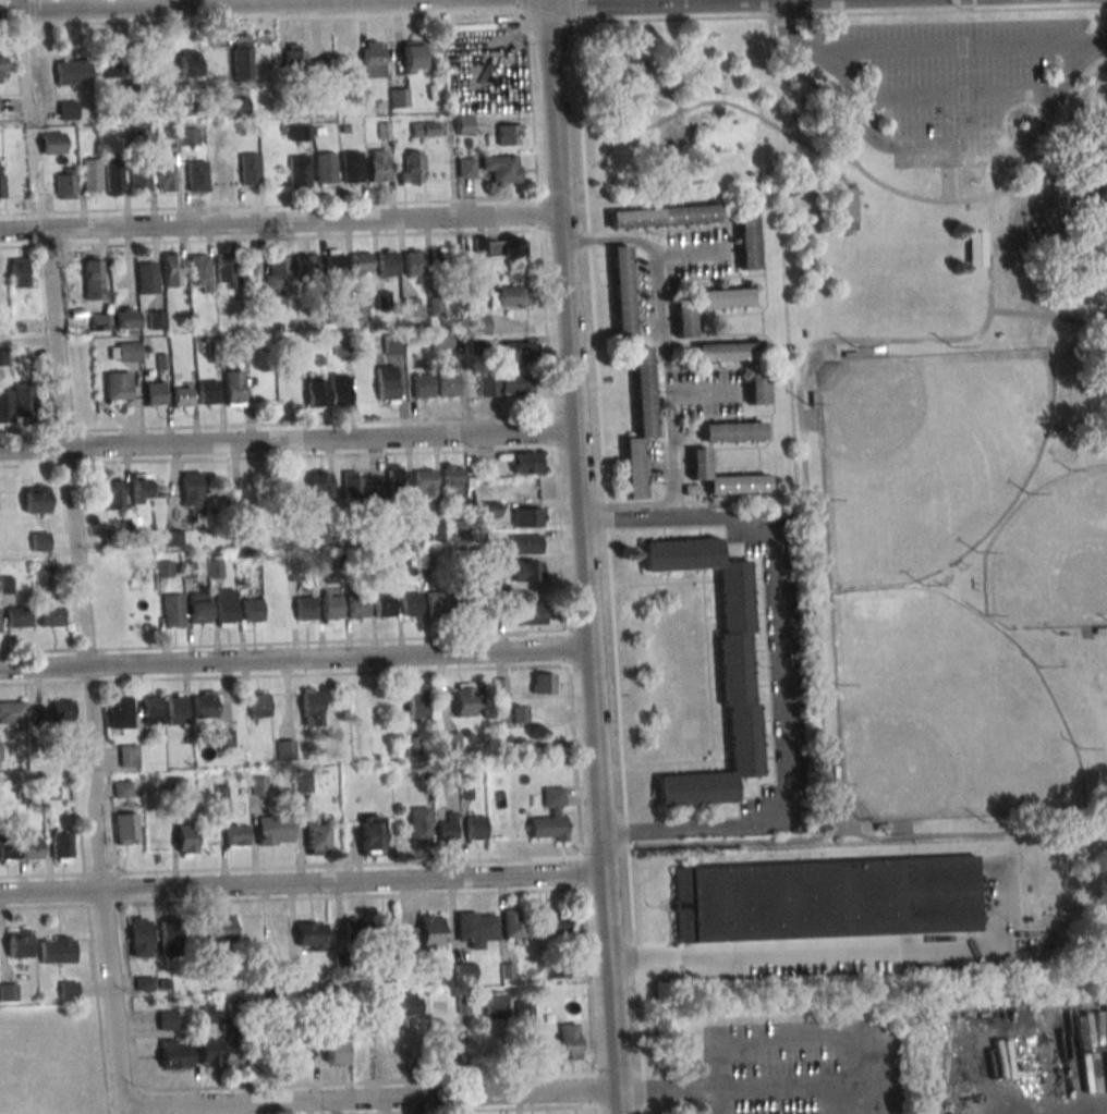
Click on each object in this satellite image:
road: (15, 5)
road: (197, 5)
road: (775, 15)
road: (671, 19)
road: (960, 47)
building: (294, 57)
building: (412, 57)
building: (242, 58)
building: (373, 59)
road: (23, 66)
building: (112, 66)
building: (188, 68)
building: (2, 69)
building: (318, 69)
parking lot: (954, 69)
road: (631, 70)
building: (73, 72)
building: (399, 97)
road: (956, 97)
road: (715, 101)
building: (68, 110)
building: (463, 124)
building: (424, 130)
building: (300, 132)
building: (507, 135)
road: (1056, 137)
road: (1086, 139)
building: (52, 143)
road: (927, 143)
building: (377, 166)
building: (352, 167)
building: (411, 167)
building: (465, 167)
building: (326, 168)
building: (501, 168)
building: (250, 169)
building: (299, 171)
building: (92, 174)
building: (197, 176)
building: (113, 177)
building: (166, 177)
building: (141, 179)
building: (1, 183)
building: (65, 184)
building: (841, 205)
road: (1015, 206)
building: (661, 216)
road: (989, 225)
road: (1057, 227)
road: (278, 228)
road: (610, 238)
building: (746, 238)
building: (499, 246)
road: (1024, 246)
building: (976, 248)
road: (686, 253)
building: (333, 262)
building: (387, 262)
building: (413, 262)
building: (440, 262)
building: (305, 265)
building: (361, 265)
building: (173, 270)
building: (224, 271)
building: (19, 272)
building: (200, 272)
building: (277, 274)
building: (93, 278)
building: (147, 278)
building: (622, 291)
building: (507, 296)
building: (436, 305)
building: (707, 305)
building: (410, 306)
building: (358, 310)
building: (156, 319)
building: (114, 320)
building: (442, 341)
building: (341, 346)
building: (124, 351)
building: (725, 351)
building: (240, 352)
building: (518, 352)
park: (919, 381)
building: (448, 382)
building: (387, 384)
building: (422, 384)
building: (504, 384)
building: (118, 387)
building: (234, 389)
building: (756, 389)
building: (340, 390)
road: (697, 391)
building: (208, 392)
building: (316, 392)
building: (156, 394)
building: (182, 397)
building: (16, 402)
building: (640, 421)
road: (668, 423)
building: (731, 431)
road: (802, 431)
road: (601, 434)
road: (575, 439)
road: (287, 443)
road: (68, 450)
park: (926, 456)
building: (526, 463)
building: (723, 477)
building: (398, 479)
building: (453, 481)
building: (293, 482)
building: (425, 482)
building: (319, 485)
building: (351, 485)
building: (141, 488)
building: (192, 492)
building: (113, 493)
building: (36, 499)
building: (489, 509)
building: (527, 517)
building: (173, 537)
building: (40, 541)
building: (525, 543)
park: (1053, 558)
building: (163, 570)
building: (526, 571)
building: (436, 602)
building: (465, 602)
building: (409, 603)
building: (224, 604)
building: (330, 605)
building: (356, 605)
building: (382, 605)
building: (198, 608)
building: (304, 608)
building: (172, 609)
building: (251, 609)
building: (50, 614)
building: (530, 614)
building: (17, 616)
building: (734, 639)
road: (336, 664)
road: (44, 671)
road: (782, 672)
building: (544, 684)
building: (501, 687)
building: (464, 700)
building: (308, 703)
building: (416, 703)
building: (203, 705)
building: (258, 705)
building: (117, 709)
building: (175, 709)
building: (150, 710)
building: (53, 711)
building: (12, 712)
park: (942, 713)
building: (513, 714)
building: (226, 737)
building: (451, 740)
building: (410, 745)
building: (285, 750)
building: (0, 752)
building: (129, 755)
road: (95, 780)
building: (302, 783)
building: (258, 785)
building: (550, 817)
building: (419, 825)
building: (447, 827)
building: (126, 828)
building: (476, 829)
building: (275, 830)
road: (966, 832)
building: (236, 835)
building: (370, 835)
building: (316, 836)
building: (186, 841)
road: (713, 844)
building: (28, 845)
building: (61, 845)
building: (7, 848)
road: (351, 884)
road: (50, 891)
building: (826, 898)
building: (556, 922)
building: (514, 923)
building: (477, 928)
building: (222, 929)
building: (354, 930)
building: (311, 935)
building: (141, 937)
building: (170, 938)
building: (19, 943)
building: (57, 950)
road: (801, 956)
building: (465, 971)
building: (68, 990)
building: (8, 991)
road: (610, 996)
road: (111, 997)
building: (413, 1002)
building: (496, 1005)
building: (390, 1007)
building: (524, 1011)
building: (206, 1015)
building: (168, 1019)
building: (570, 1041)
building: (445, 1048)
building: (542, 1049)
building: (336, 1050)
building: (299, 1051)
building: (208, 1052)
building: (231, 1052)
building: (174, 1054)
road: (751, 1085)
road: (370, 1098)
road: (716, 1100)
road: (123, 1110)

